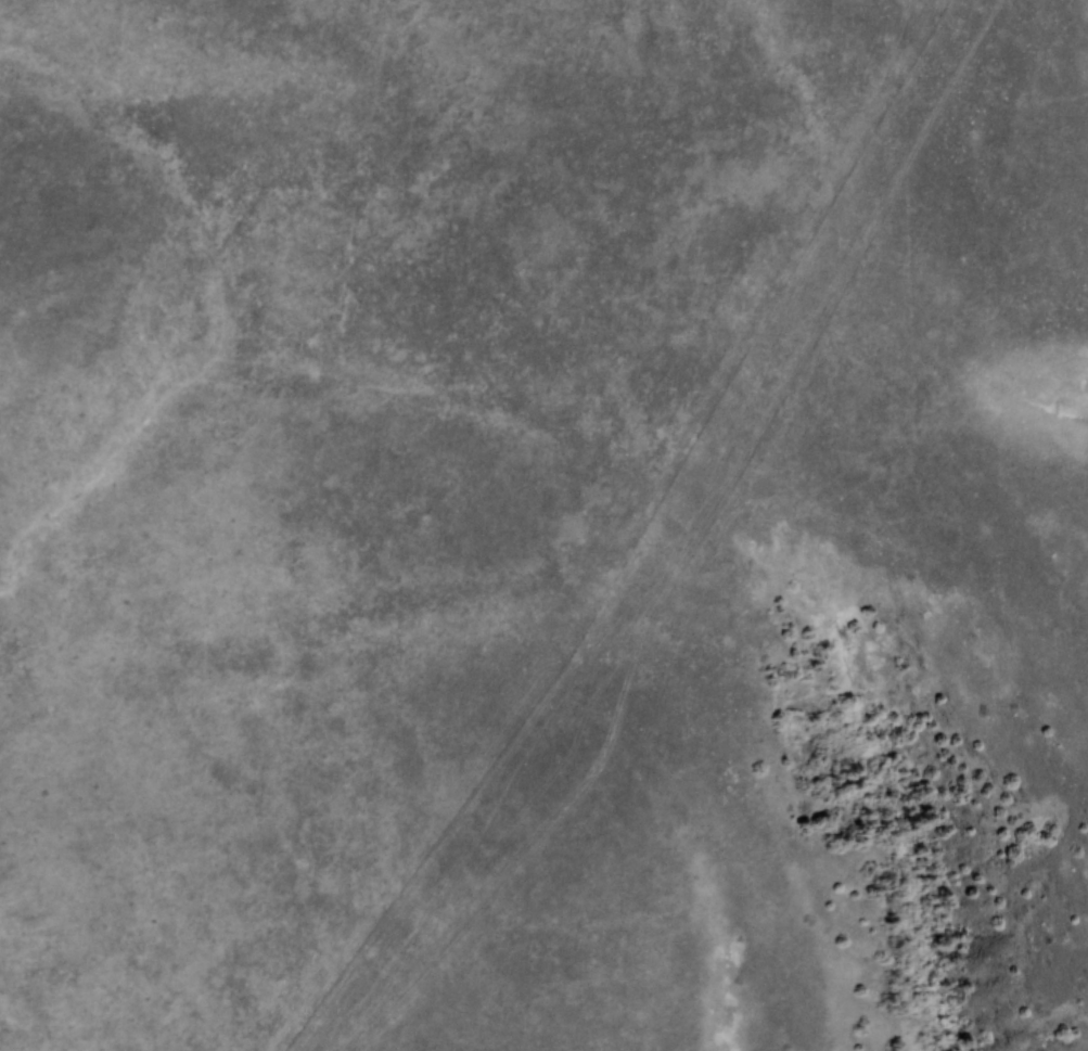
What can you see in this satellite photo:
road: (714, 581)

